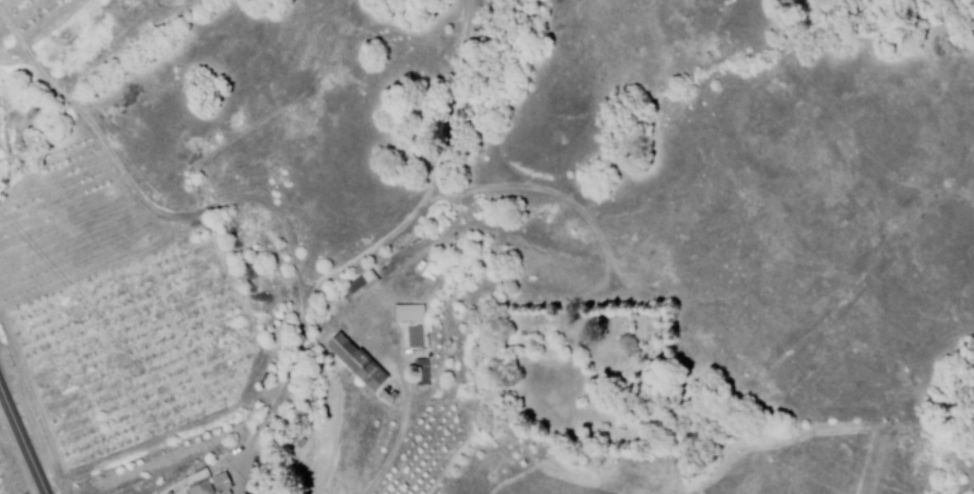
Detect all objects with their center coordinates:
building: (358, 284)
building: (410, 325)
building: (351, 360)
park: (584, 368)
road: (26, 432)
building: (205, 483)

